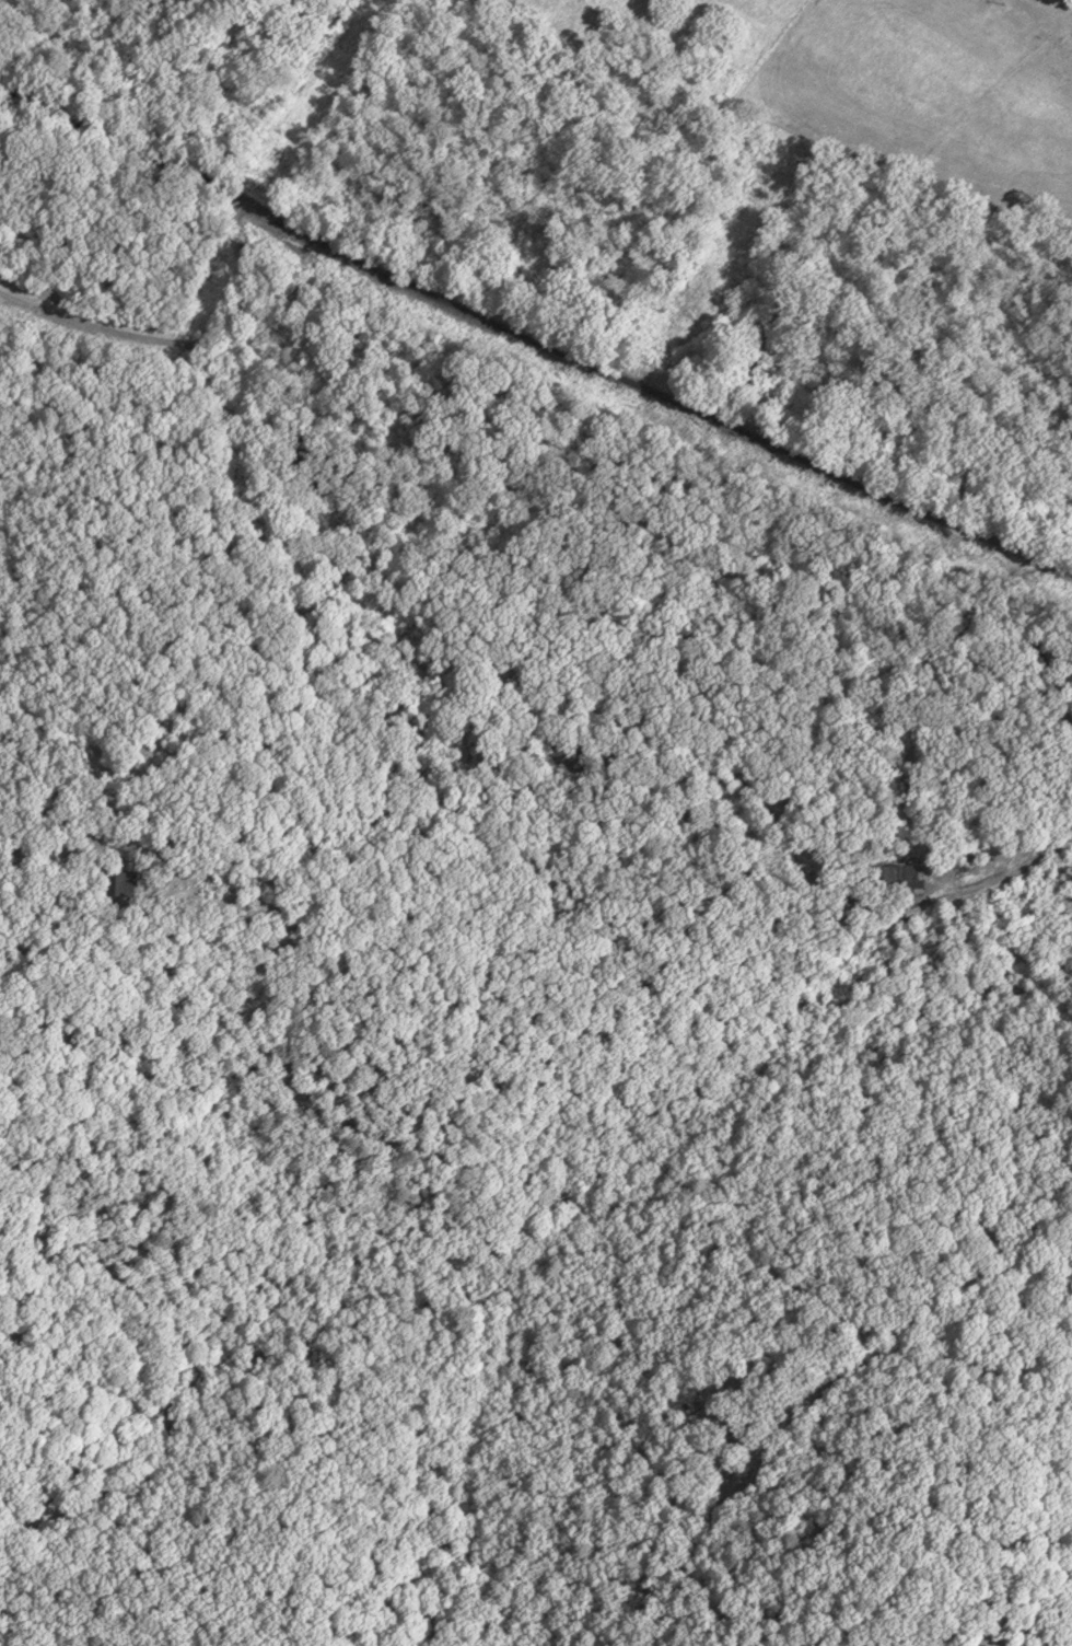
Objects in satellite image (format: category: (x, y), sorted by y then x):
road: (117, 143)
road: (179, 341)
road: (652, 390)
road: (245, 426)
road: (1035, 642)
building: (906, 878)
road: (986, 884)
road: (907, 1087)
road: (1004, 1245)
road: (814, 1279)
road: (808, 1401)

